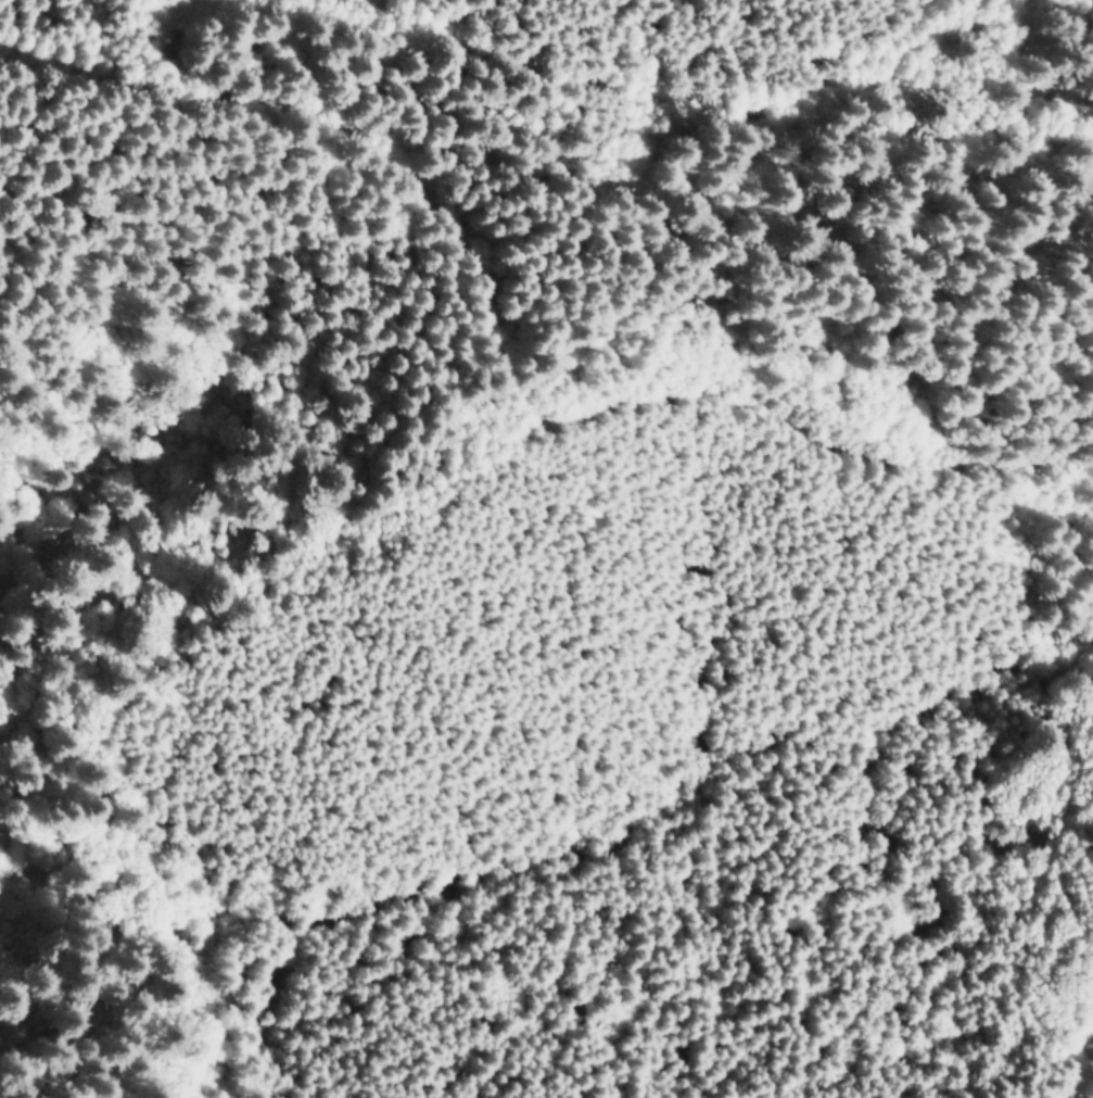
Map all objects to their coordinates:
road: (785, 311)
road: (1068, 1026)

